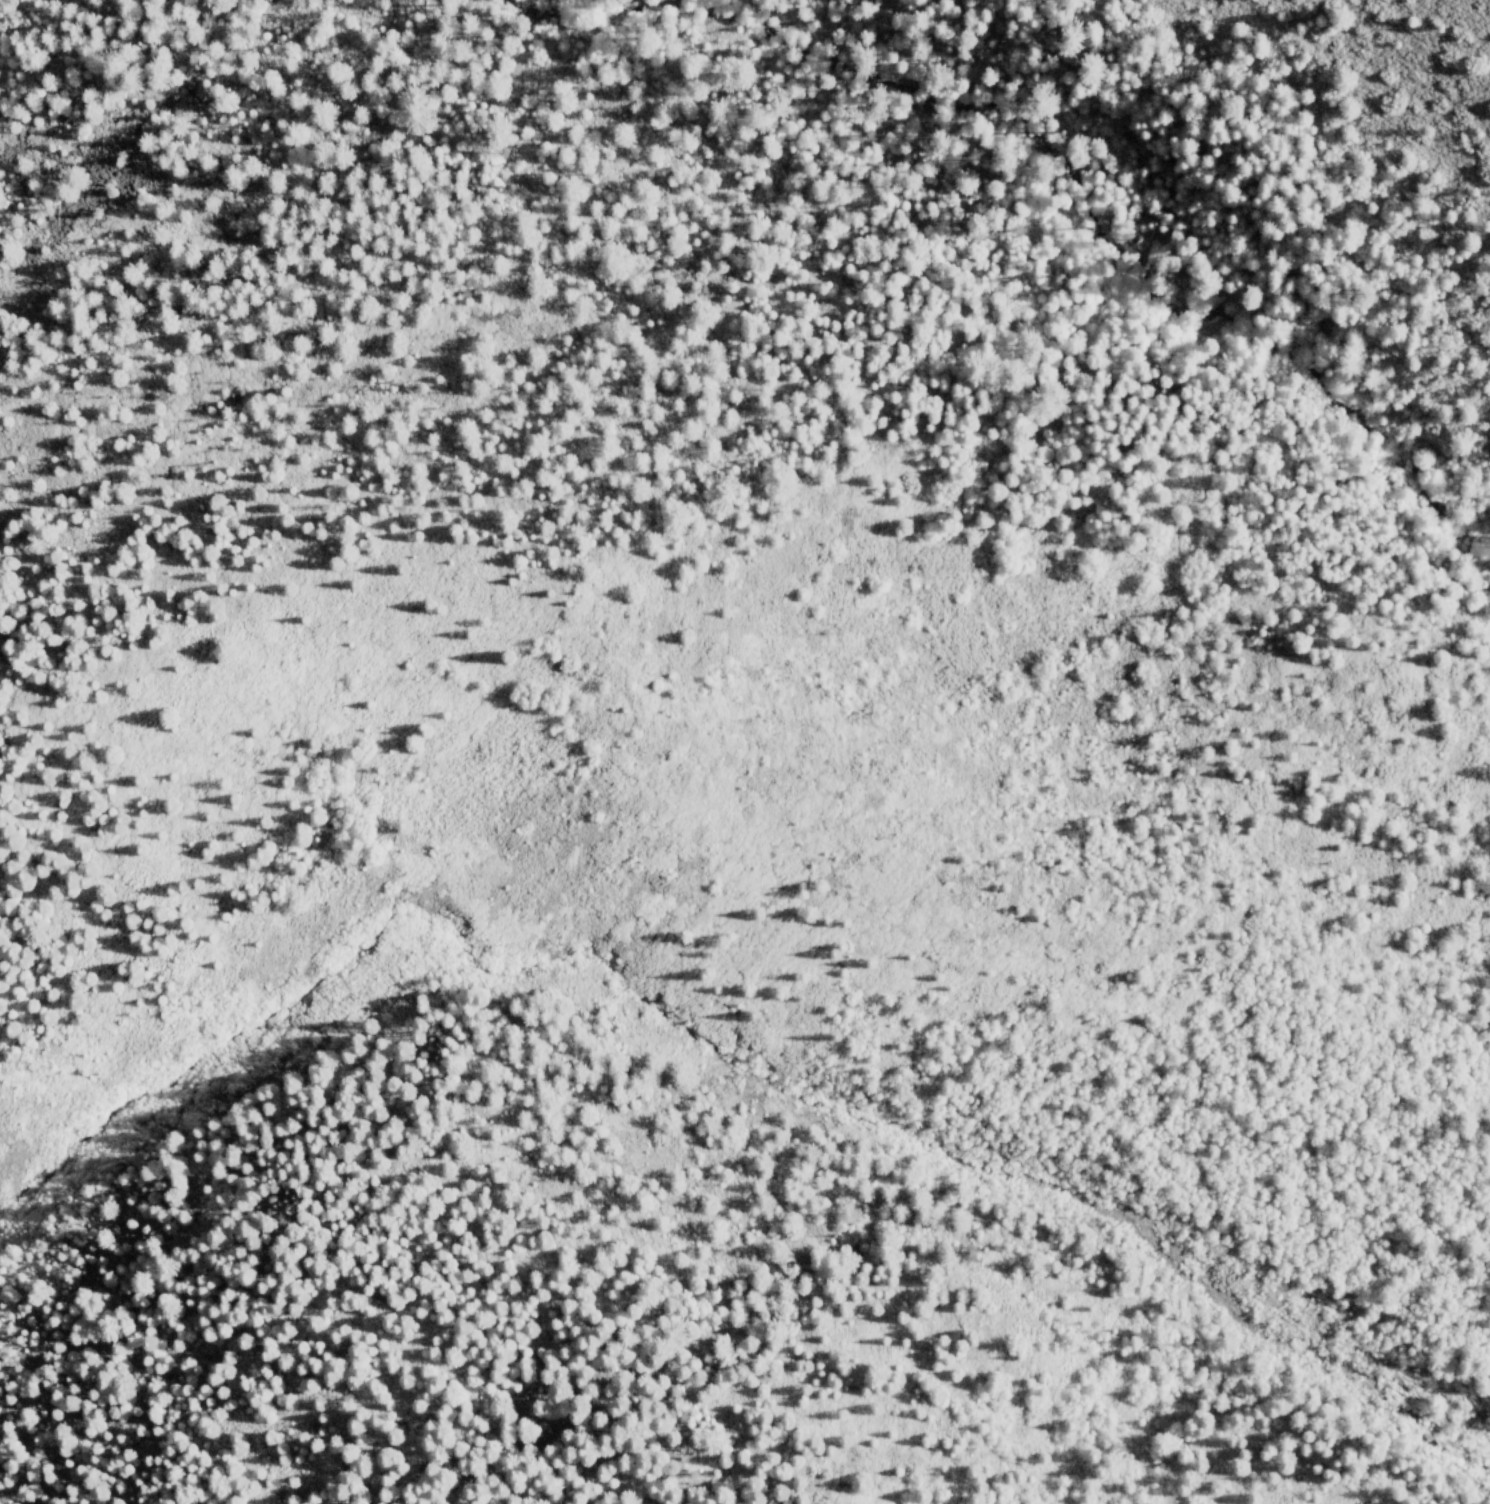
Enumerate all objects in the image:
road: (1228, 122)

